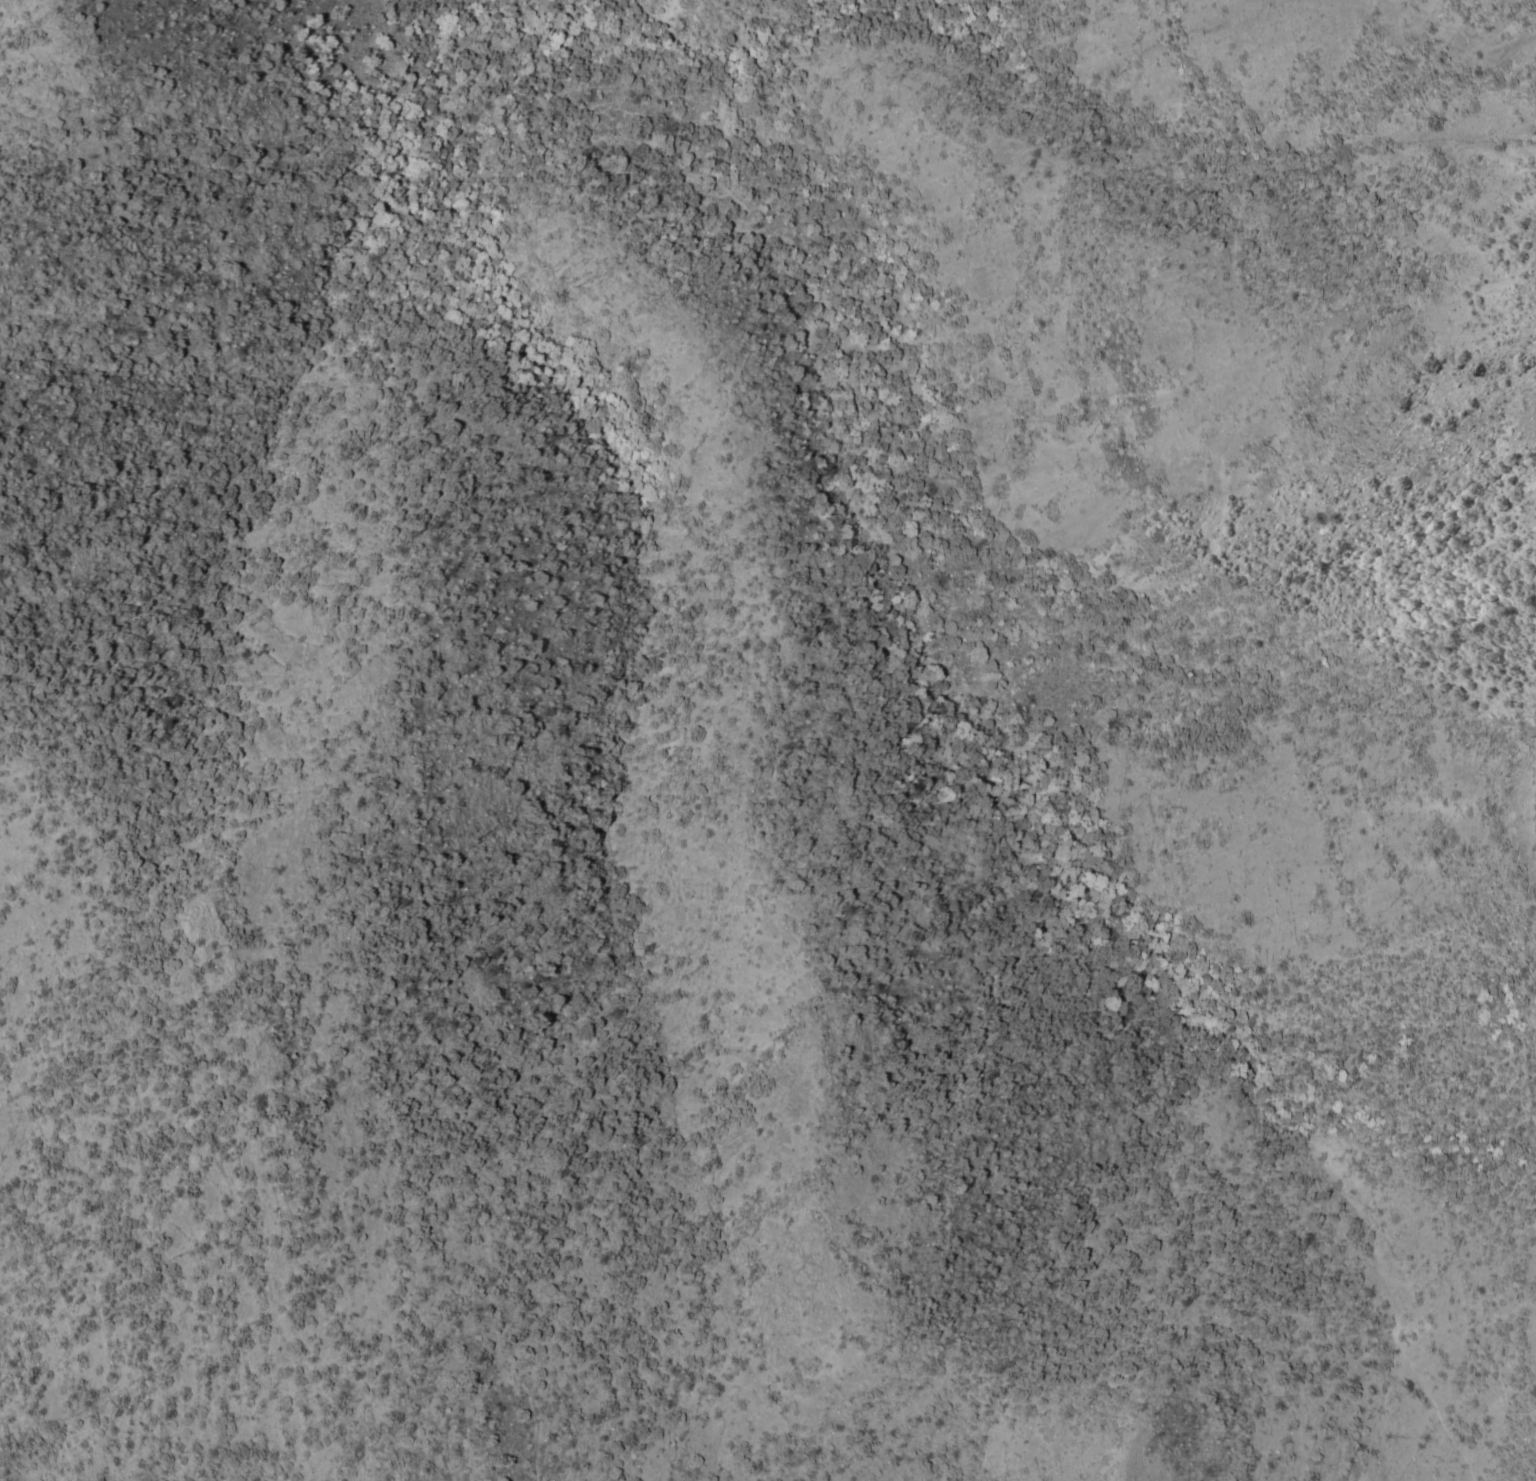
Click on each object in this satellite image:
road: (1425, 1405)

